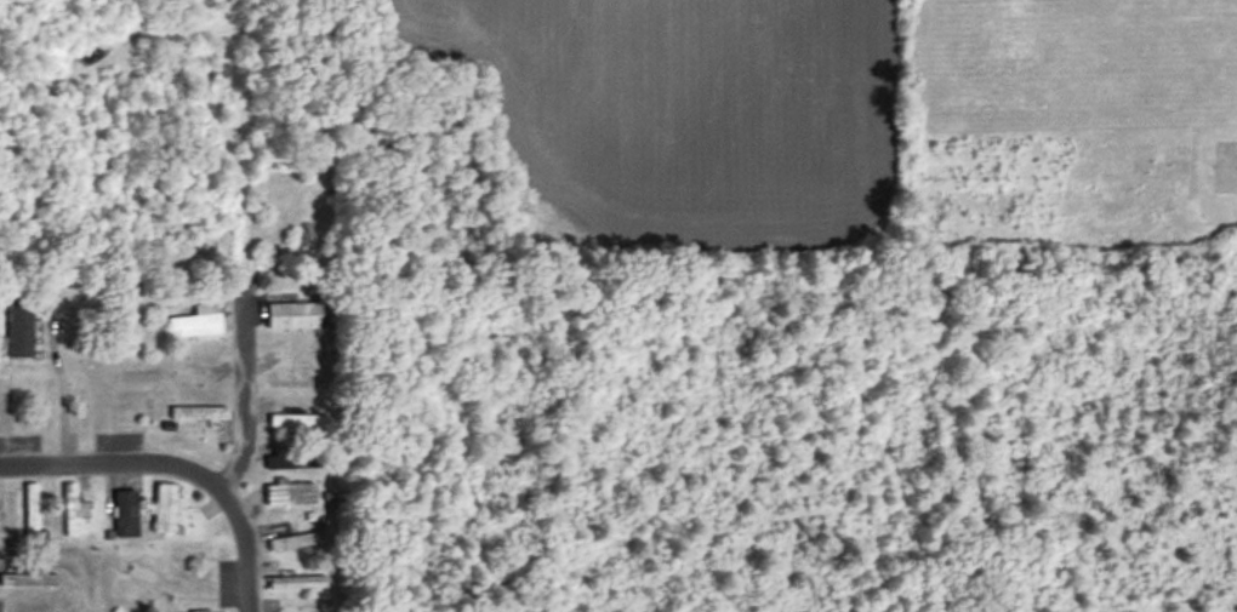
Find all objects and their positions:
building: (293, 316)
building: (198, 325)
building: (119, 327)
building: (19, 330)
building: (291, 377)
road: (59, 399)
building: (199, 413)
building: (298, 422)
road: (241, 447)
building: (296, 462)
road: (114, 464)
building: (291, 496)
building: (167, 510)
building: (32, 513)
building: (126, 515)
building: (296, 543)
building: (135, 571)
building: (29, 582)
building: (297, 584)
building: (298, 611)

